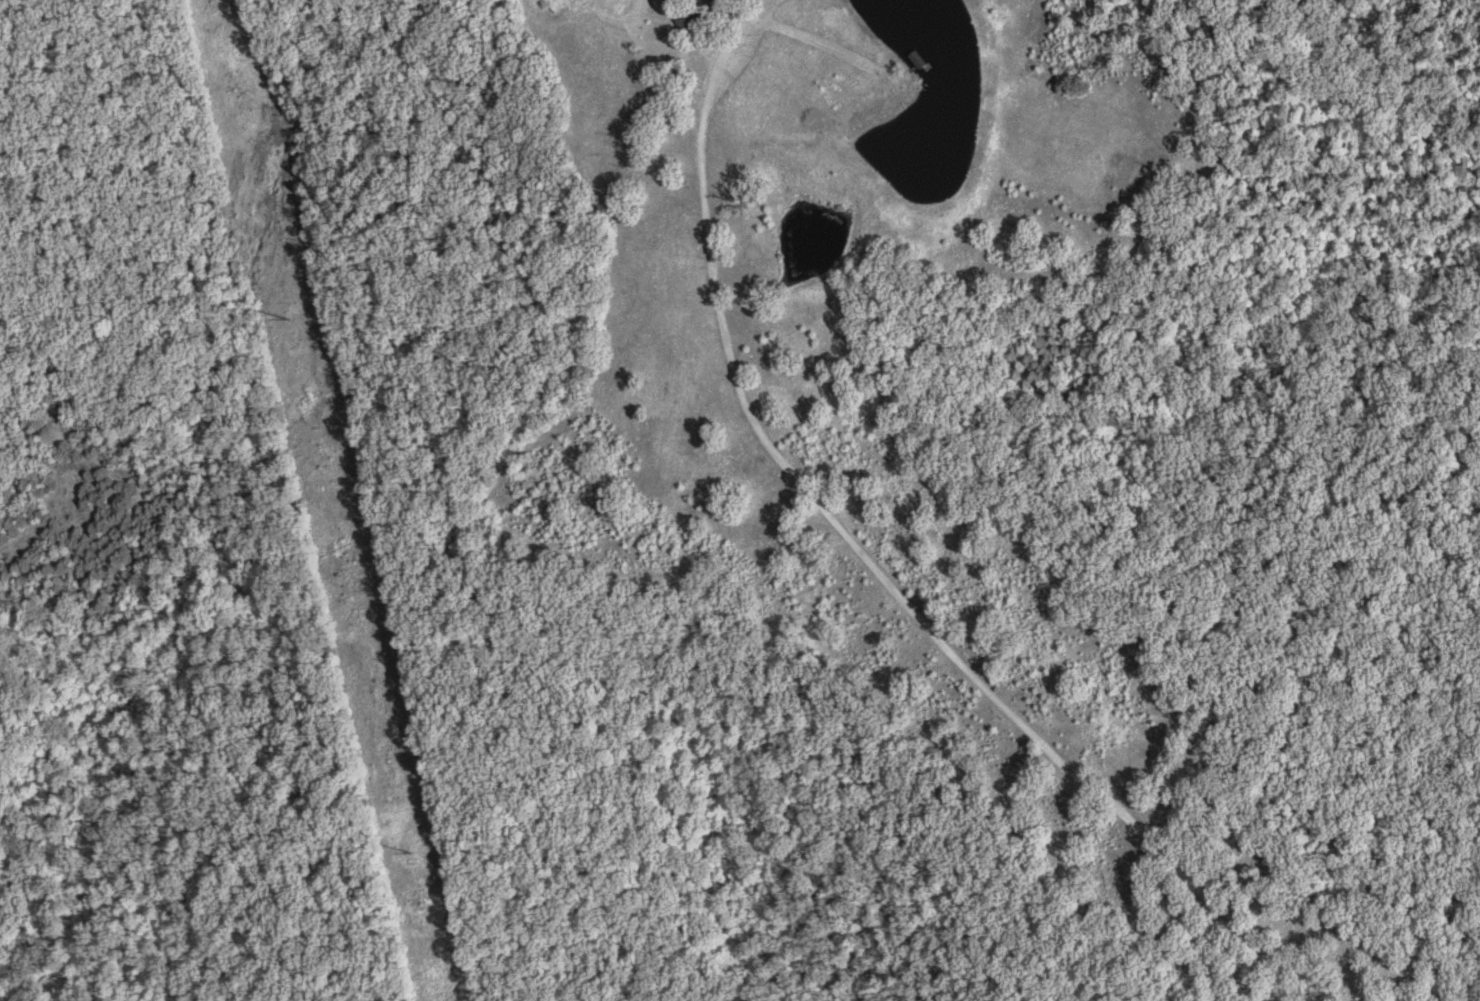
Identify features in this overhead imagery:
building: (692, 14)
road: (1122, 823)

